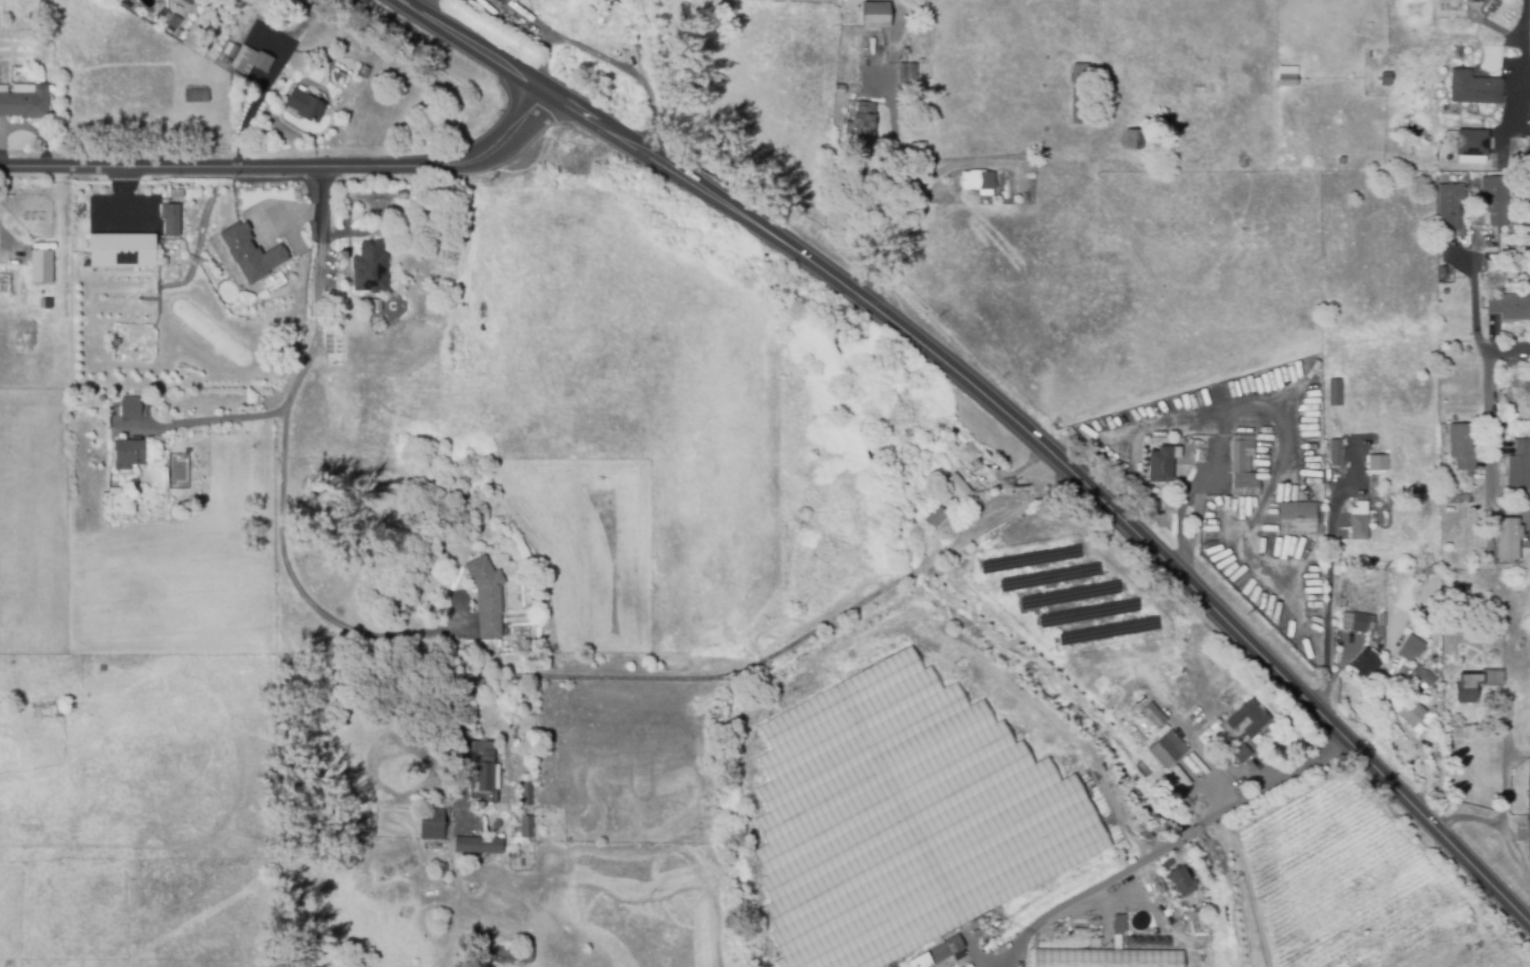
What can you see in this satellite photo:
building: (620, 1)
building: (188, 2)
building: (125, 3)
building: (163, 13)
building: (874, 14)
building: (174, 21)
road: (1523, 48)
road: (545, 56)
road: (603, 58)
building: (251, 60)
building: (907, 72)
building: (1286, 75)
road: (269, 80)
building: (840, 88)
building: (1475, 89)
building: (1079, 92)
building: (197, 95)
building: (26, 101)
building: (306, 105)
building: (1162, 116)
building: (861, 119)
building: (1133, 138)
building: (1469, 148)
building: (1493, 163)
road: (289, 168)
building: (978, 181)
building: (1023, 196)
building: (1495, 200)
building: (1449, 206)
road: (907, 208)
building: (169, 212)
road: (7, 239)
building: (121, 252)
building: (250, 254)
building: (341, 257)
building: (41, 266)
building: (1486, 268)
building: (370, 269)
building: (1453, 292)
building: (377, 305)
building: (1510, 307)
road: (1474, 310)
road: (1509, 350)
building: (1336, 393)
building: (130, 407)
road: (289, 408)
road: (1249, 409)
road: (1006, 416)
road: (210, 419)
building: (1463, 446)
building: (970, 448)
building: (1200, 448)
road: (1492, 449)
building: (187, 452)
building: (128, 453)
building: (1336, 456)
building: (1160, 463)
building: (1376, 463)
building: (1242, 465)
building: (1519, 468)
road: (1201, 474)
building: (956, 485)
building: (1364, 486)
road: (1178, 514)
road: (1195, 515)
building: (935, 516)
building: (1297, 518)
building: (1356, 522)
building: (1506, 542)
road: (1183, 562)
building: (1339, 584)
building: (488, 596)
road: (1331, 596)
building: (1394, 618)
building: (1357, 622)
road: (826, 626)
building: (1381, 626)
road: (407, 635)
building: (1411, 649)
building: (1365, 664)
building: (1423, 678)
building: (1478, 684)
building: (1412, 713)
building: (1154, 716)
building: (1247, 721)
building: (1166, 751)
building: (1240, 754)
building: (487, 771)
building: (527, 792)
building: (1528, 794)
road: (1503, 807)
building: (903, 818)
road: (1468, 818)
building: (433, 824)
building: (527, 827)
building: (1529, 840)
road: (1175, 843)
building: (480, 844)
building: (443, 870)
building: (1179, 879)
road: (1527, 915)
building: (1117, 924)
building: (937, 953)
building: (1108, 958)

